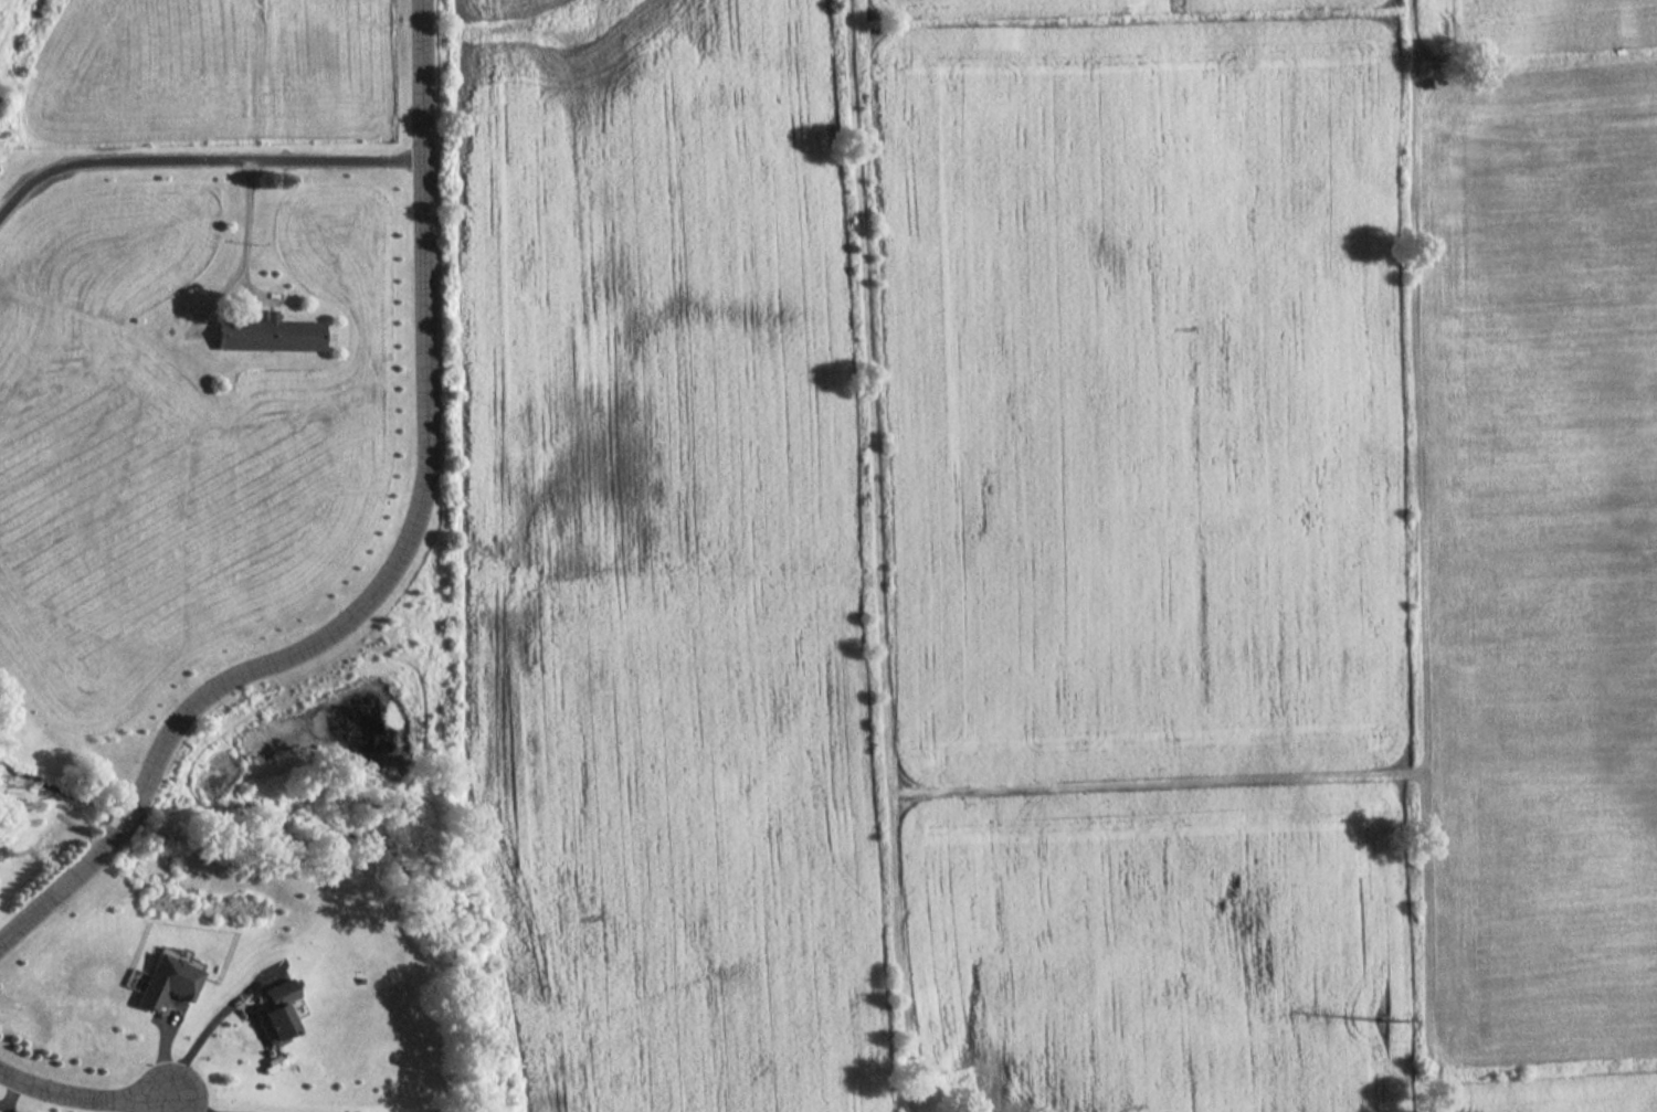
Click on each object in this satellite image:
road: (335, 159)
road: (114, 160)
road: (246, 218)
building: (271, 333)
road: (400, 564)
building: (168, 979)
building: (276, 1012)
power tower: (1381, 1016)
road: (210, 1031)
road: (84, 1100)
road: (172, 1105)
road: (188, 1105)

